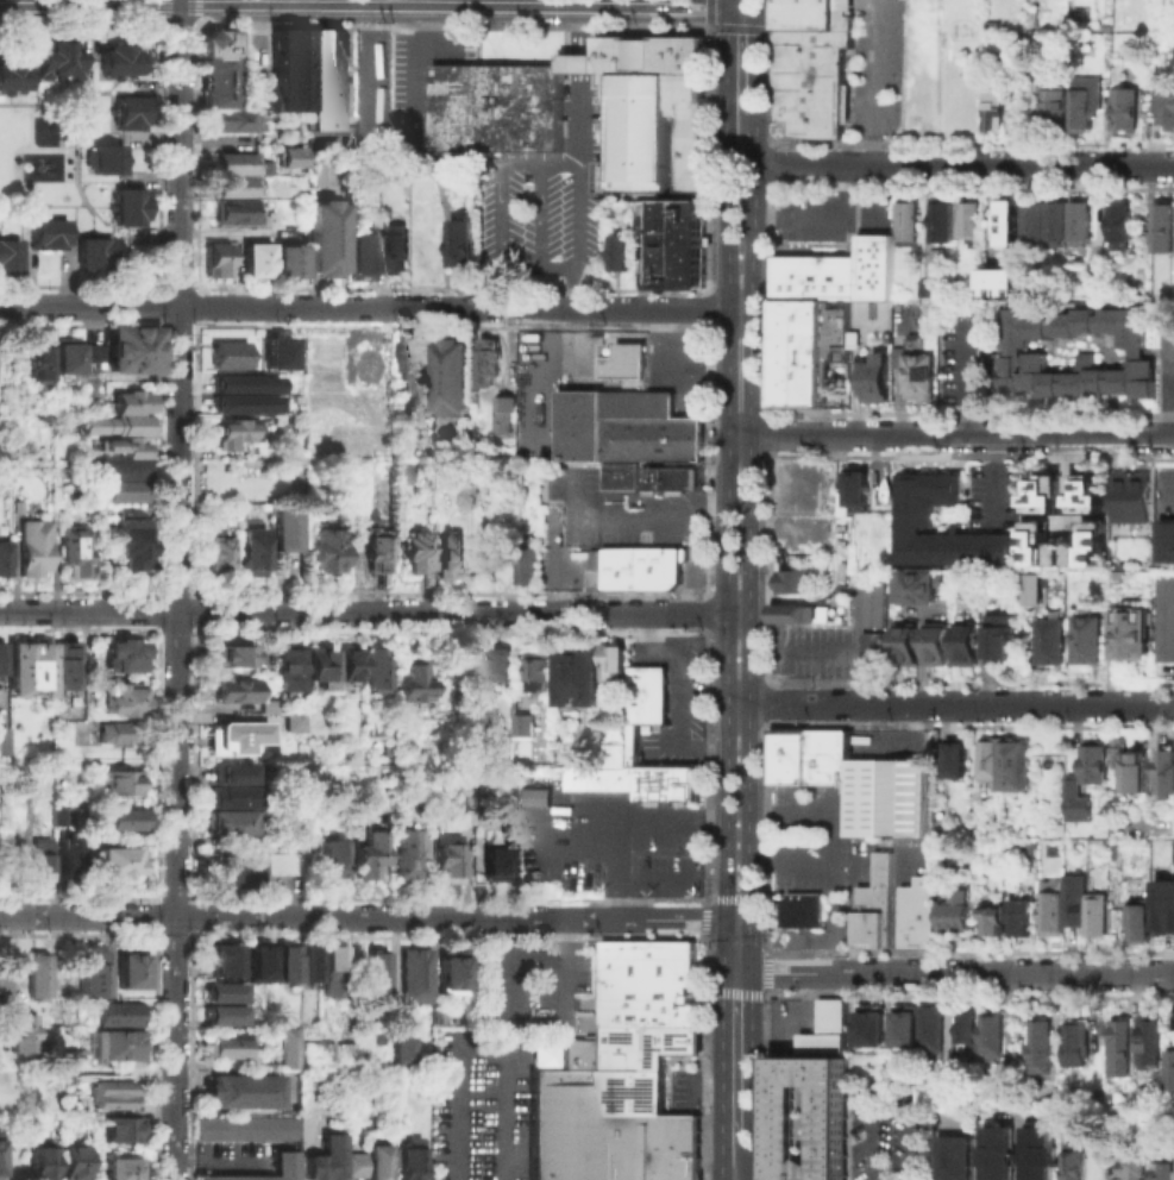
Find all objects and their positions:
road: (408, 0)
road: (89, 1)
road: (466, 1)
road: (591, 1)
road: (729, 1)
road: (754, 2)
traffic signals: (729, 4)
traffic signals: (755, 5)
building: (815, 18)
building: (1167, 19)
road: (580, 46)
building: (218, 49)
road: (756, 57)
building: (653, 61)
road: (366, 63)
building: (63, 64)
building: (118, 65)
building: (288, 77)
building: (14, 81)
road: (868, 82)
building: (327, 86)
building: (811, 86)
road: (45, 105)
building: (1088, 107)
building: (1056, 108)
building: (997, 109)
building: (130, 113)
building: (500, 113)
building: (1129, 113)
building: (1168, 113)
building: (238, 127)
road: (580, 127)
building: (660, 142)
road: (27, 143)
building: (284, 156)
building: (107, 161)
road: (965, 164)
road: (560, 165)
building: (234, 169)
road: (741, 188)
building: (233, 193)
parking lot: (554, 196)
building: (126, 207)
road: (15, 211)
road: (755, 211)
parking lot: (829, 212)
road: (501, 215)
road: (540, 215)
road: (824, 215)
building: (969, 215)
road: (579, 216)
building: (1035, 218)
building: (941, 219)
building: (233, 220)
building: (1009, 220)
building: (1056, 220)
building: (1079, 220)
building: (906, 221)
building: (1119, 225)
building: (1162, 226)
building: (46, 240)
building: (327, 245)
building: (678, 247)
building: (467, 250)
building: (402, 252)
building: (938, 253)
building: (92, 255)
building: (623, 258)
building: (10, 261)
building: (359, 262)
road: (555, 265)
building: (877, 265)
building: (214, 266)
building: (252, 268)
building: (285, 268)
building: (786, 276)
building: (812, 276)
building: (841, 276)
building: (1002, 278)
building: (927, 285)
road: (572, 287)
road: (375, 307)
building: (798, 309)
building: (886, 335)
building: (133, 352)
building: (272, 352)
building: (1027, 352)
building: (225, 353)
building: (63, 354)
parking lot: (967, 358)
building: (488, 359)
building: (798, 363)
parking lot: (1166, 363)
building: (40, 366)
building: (407, 372)
building: (918, 375)
building: (875, 376)
building: (456, 379)
road: (968, 379)
road: (1170, 379)
building: (241, 382)
building: (241, 402)
building: (131, 404)
building: (630, 415)
building: (510, 420)
building: (118, 426)
road: (952, 434)
building: (236, 435)
building: (119, 446)
road: (176, 458)
road: (729, 460)
building: (119, 470)
building: (400, 471)
road: (994, 476)
building: (655, 477)
building: (470, 487)
building: (858, 488)
road: (1169, 489)
parking lot: (993, 492)
building: (1044, 492)
parking lot: (1167, 492)
building: (120, 495)
building: (472, 496)
building: (1131, 496)
road: (648, 509)
building: (915, 510)
building: (1081, 513)
building: (285, 532)
building: (526, 534)
building: (1167, 539)
building: (128, 546)
building: (1036, 546)
building: (251, 552)
building: (331, 552)
building: (1056, 553)
building: (33, 554)
building: (73, 554)
building: (376, 554)
building: (415, 556)
building: (212, 557)
building: (1, 558)
building: (452, 559)
building: (526, 567)
building: (641, 567)
building: (797, 579)
building: (918, 584)
building: (1032, 588)
road: (373, 611)
building: (792, 613)
road: (749, 614)
building: (1164, 616)
road: (79, 628)
building: (1046, 632)
building: (1130, 632)
building: (999, 634)
building: (1085, 638)
building: (906, 642)
building: (966, 644)
building: (935, 645)
building: (873, 646)
building: (228, 654)
road: (921, 658)
building: (123, 659)
building: (1, 660)
building: (611, 660)
building: (65, 665)
building: (316, 667)
building: (30, 669)
building: (287, 669)
building: (506, 669)
building: (349, 670)
building: (375, 673)
building: (544, 673)
building: (583, 678)
building: (410, 682)
building: (645, 690)
building: (234, 692)
parking lot: (668, 697)
building: (124, 701)
road: (950, 703)
building: (268, 709)
building: (289, 721)
building: (526, 723)
building: (118, 736)
building: (238, 739)
building: (615, 740)
building: (2, 747)
building: (1115, 751)
building: (987, 759)
building: (956, 760)
building: (1094, 761)
road: (155, 762)
building: (1015, 765)
building: (1136, 772)
building: (1164, 772)
building: (236, 773)
building: (599, 773)
building: (663, 779)
building: (843, 780)
building: (121, 785)
building: (534, 796)
building: (236, 798)
building: (1075, 799)
road: (620, 817)
building: (58, 818)
building: (226, 821)
building: (124, 822)
building: (310, 846)
building: (1019, 847)
building: (413, 852)
building: (368, 856)
road: (792, 858)
building: (450, 860)
building: (67, 861)
building: (42, 862)
building: (278, 862)
building: (329, 862)
parking lot: (808, 862)
building: (118, 865)
building: (496, 866)
building: (232, 871)
road: (79, 896)
building: (1071, 897)
building: (872, 902)
building: (1047, 903)
building: (1162, 903)
building: (795, 908)
building: (950, 908)
building: (912, 910)
building: (1092, 910)
building: (1018, 914)
road: (363, 917)
building: (990, 917)
building: (1135, 918)
traffic signals: (727, 919)
road: (737, 919)
traffic signals: (748, 919)
road: (831, 939)
road: (732, 946)
road: (742, 946)
building: (255, 960)
building: (224, 961)
building: (283, 961)
building: (306, 962)
building: (126, 969)
building: (329, 969)
building: (34, 973)
building: (92, 973)
traffic signals: (736, 973)
road: (955, 973)
building: (453, 974)
building: (648, 978)
building: (415, 979)
parking lot: (532, 981)
building: (377, 983)
building: (220, 991)
building: (590, 1012)
building: (220, 1013)
building: (114, 1016)
road: (519, 1018)
building: (827, 1027)
building: (18, 1029)
building: (935, 1030)
building: (966, 1030)
building: (872, 1032)
building: (906, 1032)
building: (991, 1035)
building: (1046, 1043)
building: (1154, 1043)
road: (478, 1047)
road: (172, 1048)
building: (1080, 1048)
building: (113, 1049)
building: (580, 1049)
building: (228, 1050)
building: (402, 1050)
building: (1125, 1050)
building: (290, 1055)
road: (736, 1055)
building: (640, 1060)
building: (1173, 1067)
building: (1007, 1078)
building: (331, 1080)
road: (886, 1093)
building: (243, 1094)
building: (112, 1098)
parking lot: (483, 1103)
building: (566, 1123)
building: (810, 1124)
building: (123, 1132)
building: (245, 1132)
parking lot: (890, 1134)
building: (628, 1144)
building: (676, 1144)
building: (1002, 1155)
building: (1042, 1155)
building: (325, 1157)
road: (728, 1159)
road: (745, 1159)
building: (410, 1160)
building: (959, 1160)
building: (40, 1162)
building: (1079, 1162)
building: (73, 1165)
road: (215, 1165)
building: (1137, 1165)
building: (366, 1166)
building: (275, 1169)
building: (123, 1170)
building: (1164, 1172)

